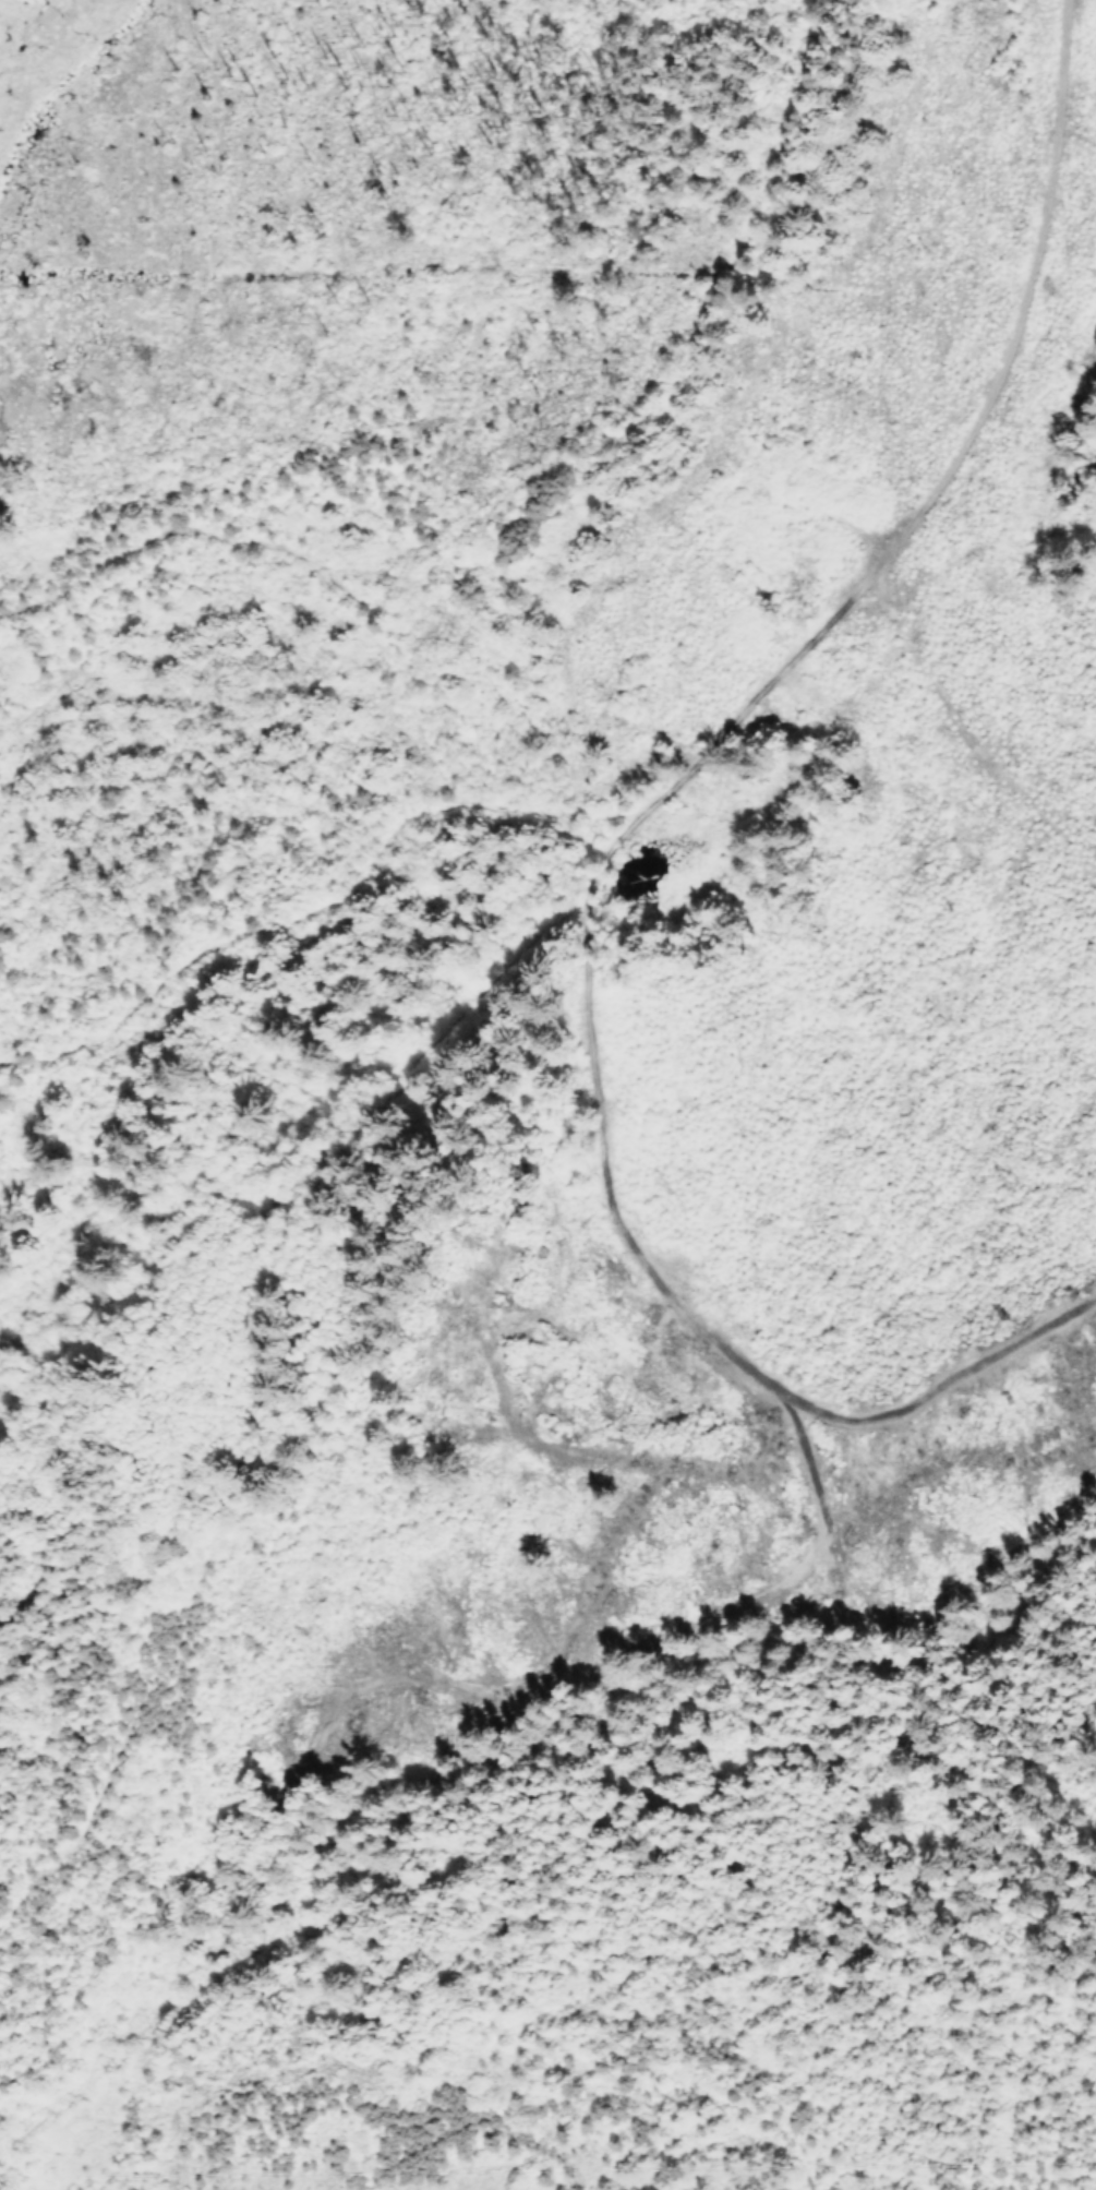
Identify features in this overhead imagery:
road: (914, 511)
road: (578, 981)

